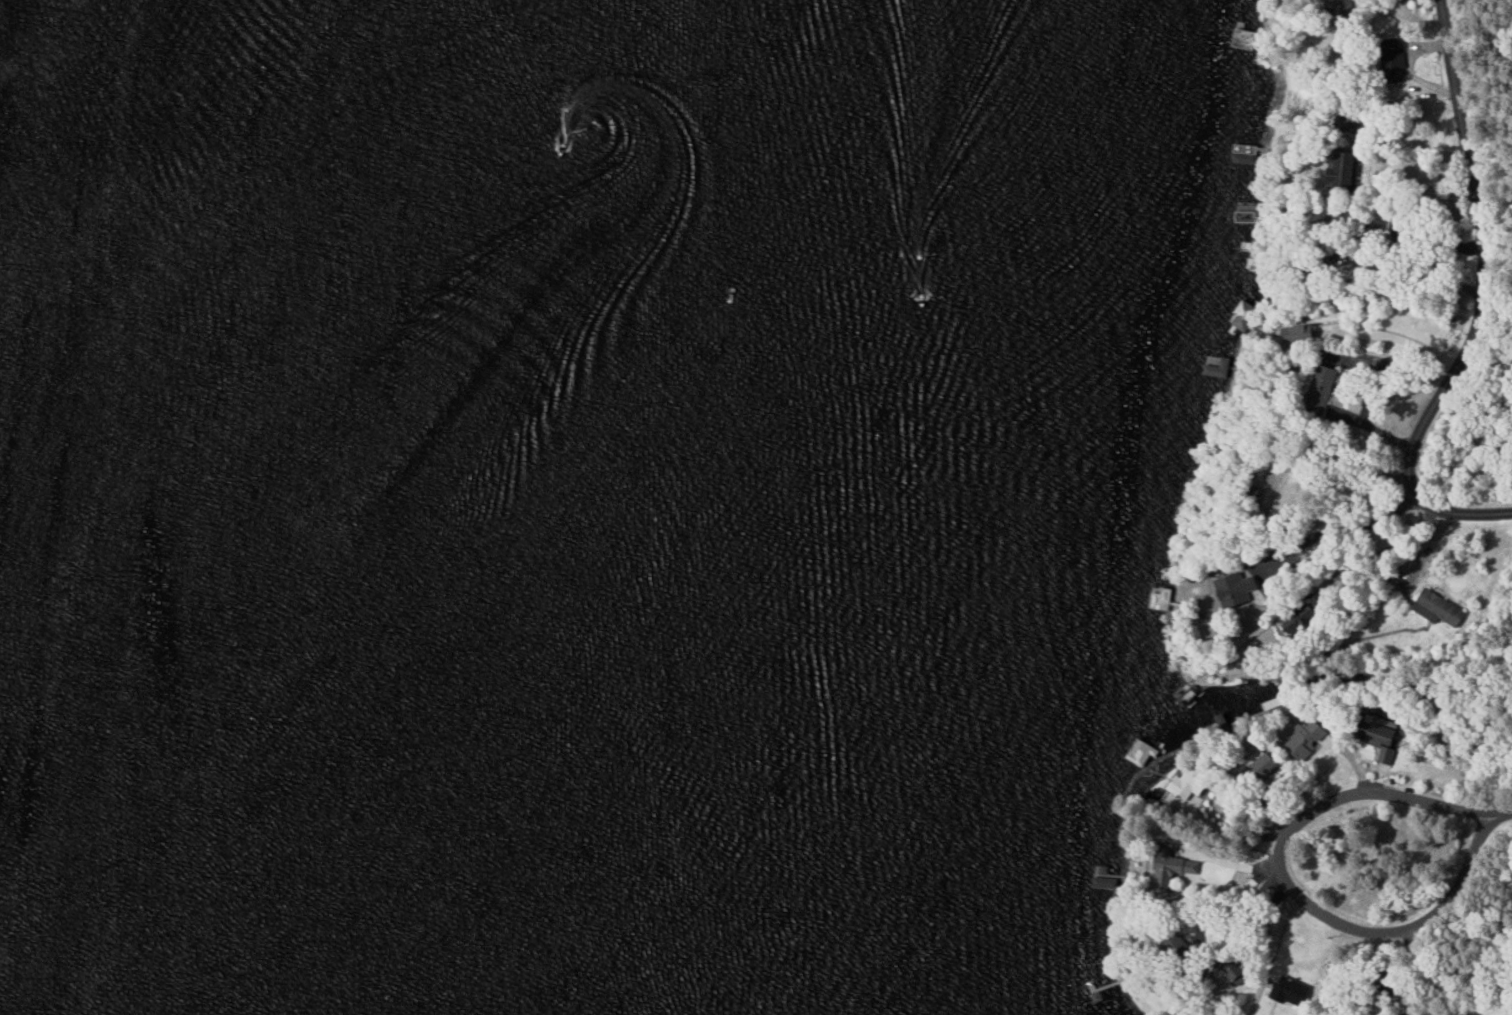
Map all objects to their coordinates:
building: (1244, 37)
building: (1401, 61)
building: (1348, 171)
building: (1245, 213)
road: (1479, 307)
building: (1242, 315)
building: (1304, 333)
building: (1218, 368)
building: (1329, 383)
river: (264, 506)
building: (1239, 590)
building: (1164, 597)
building: (1439, 608)
building: (1301, 623)
building: (1314, 740)
building: (1382, 742)
building: (1258, 766)
building: (1186, 789)
road: (1371, 791)
building: (1174, 867)
road: (1237, 970)
building: (1292, 990)

